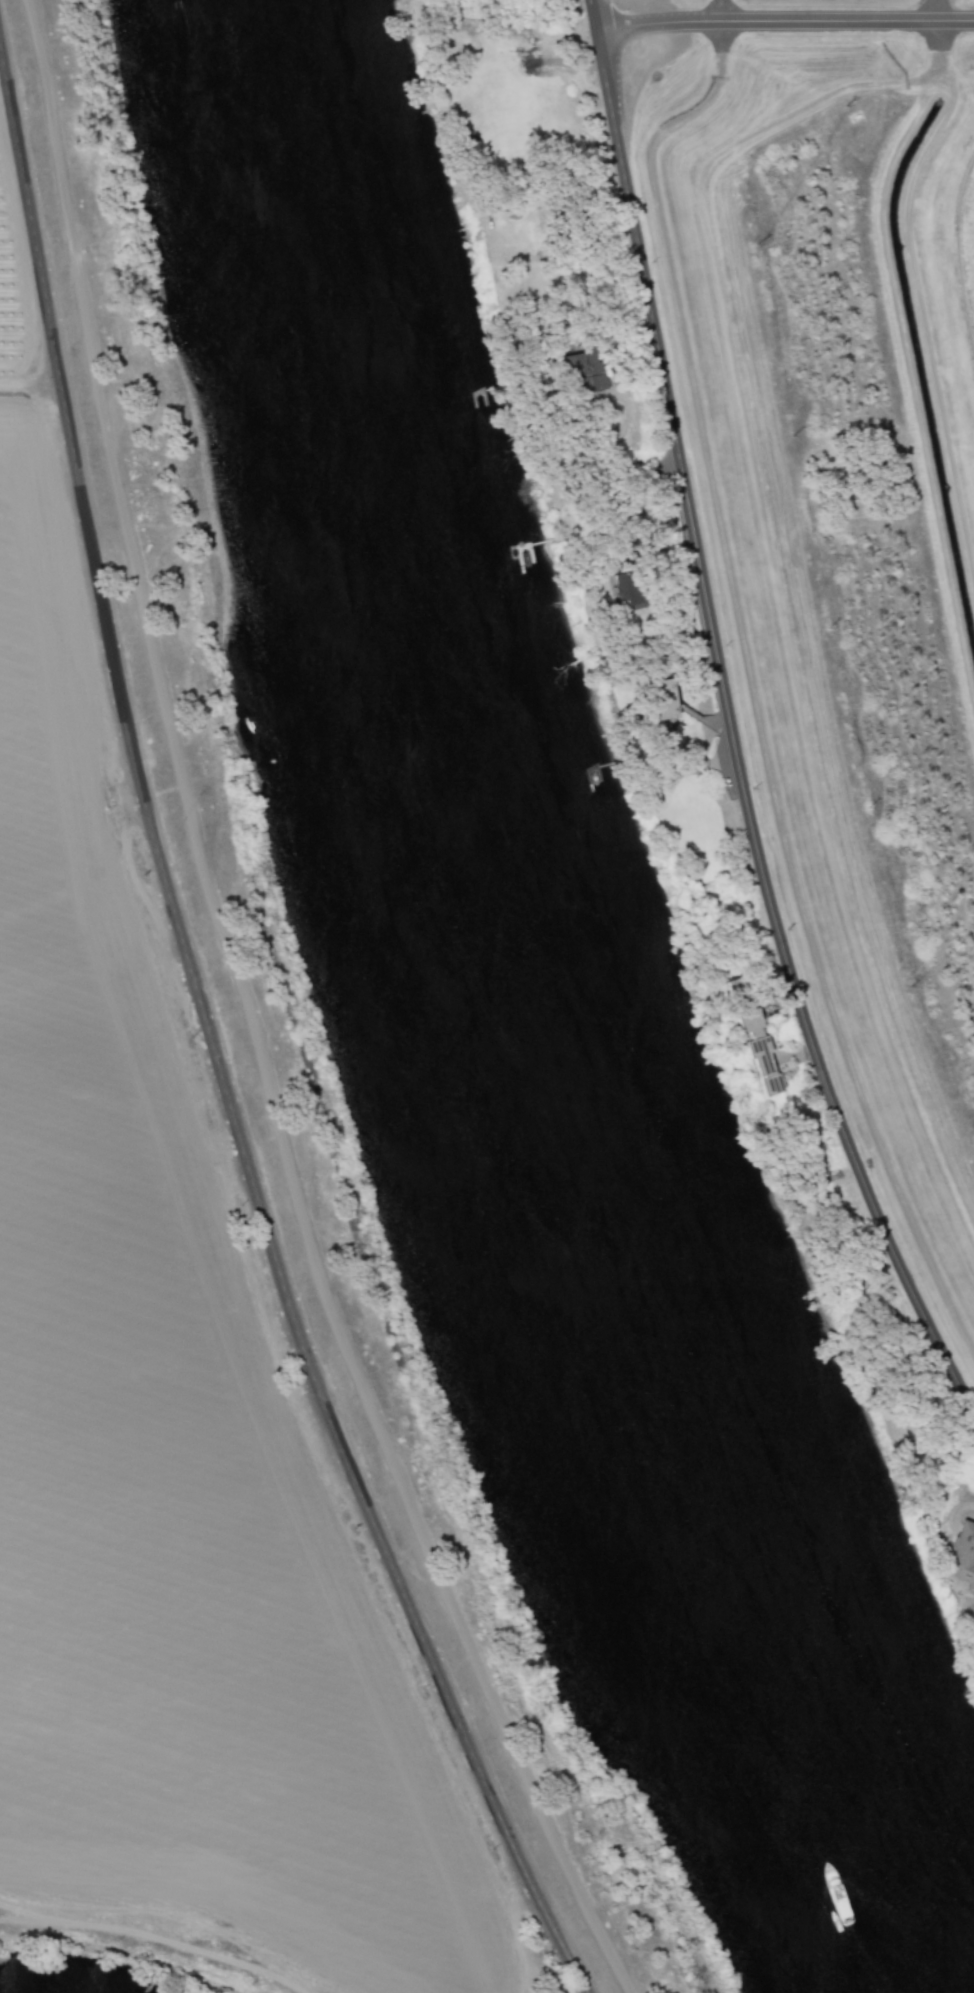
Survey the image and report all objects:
road: (784, 21)
building: (582, 370)
building: (622, 590)
building: (659, 700)
road: (730, 722)
road: (250, 1021)
river: (508, 1034)
road: (210, 1050)
building: (762, 1066)
crop: (174, 1439)

